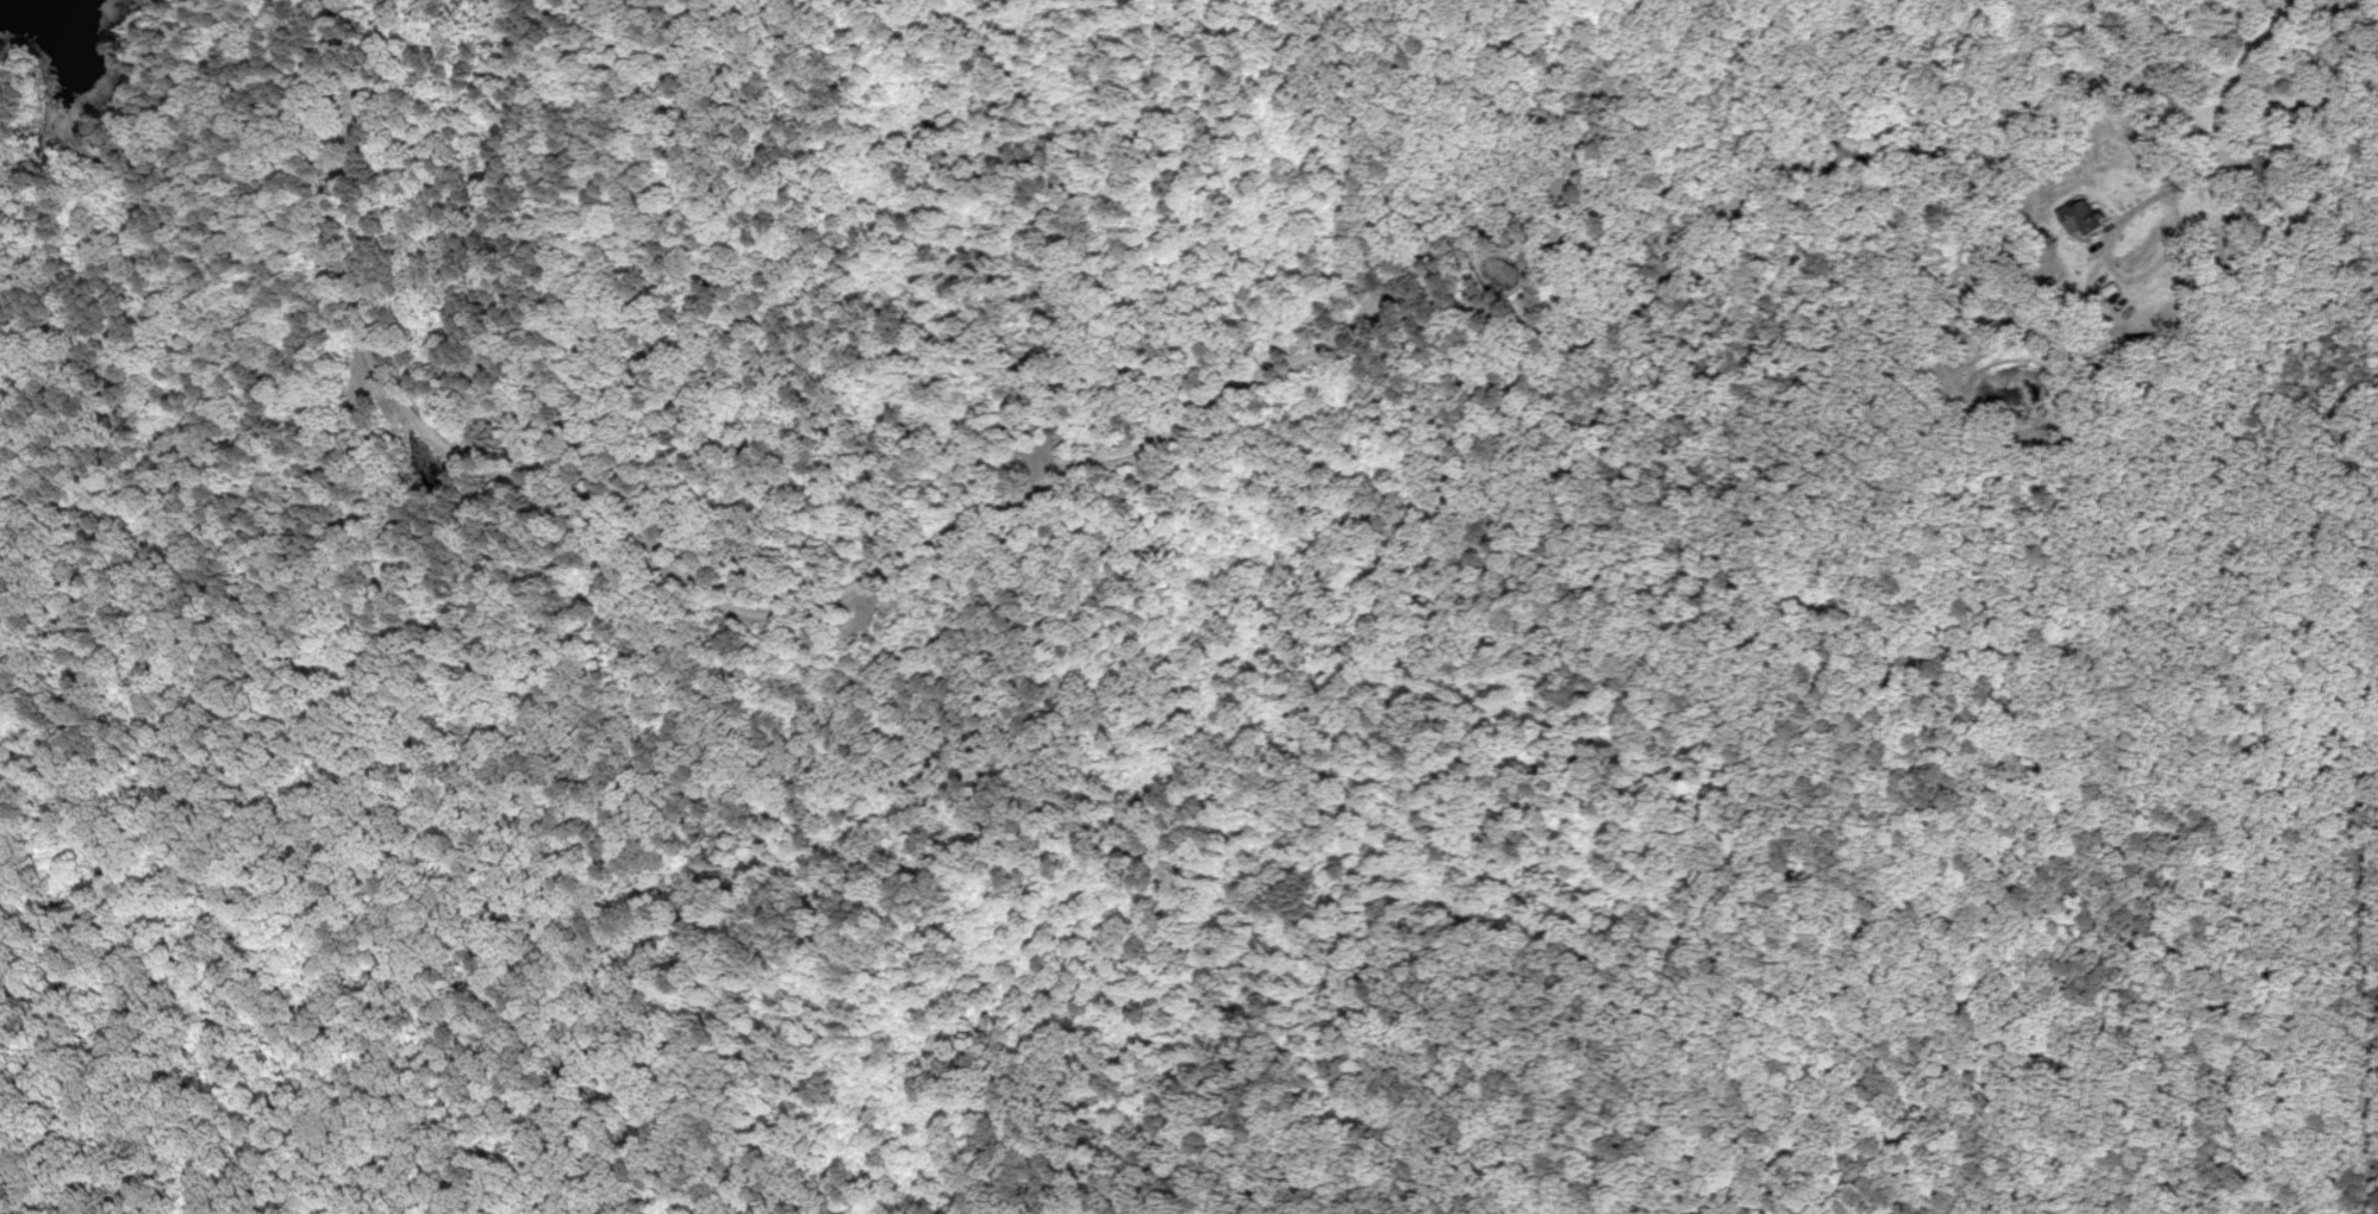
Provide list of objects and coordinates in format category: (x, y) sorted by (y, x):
building: (2079, 218)
building: (1312, 356)

